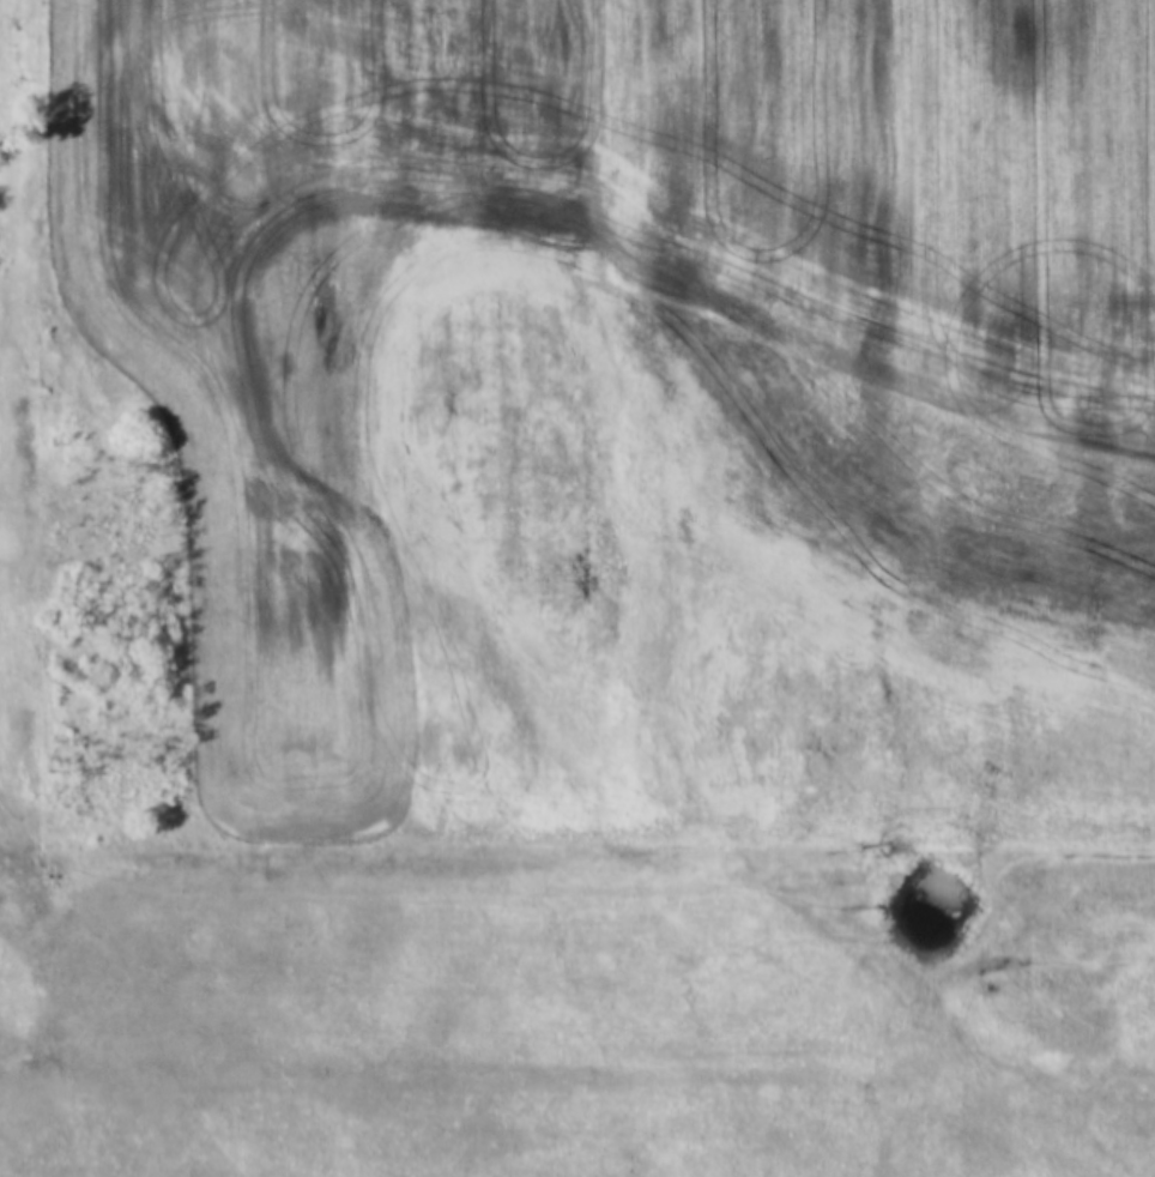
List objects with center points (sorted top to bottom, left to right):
building: (1066, 345)

